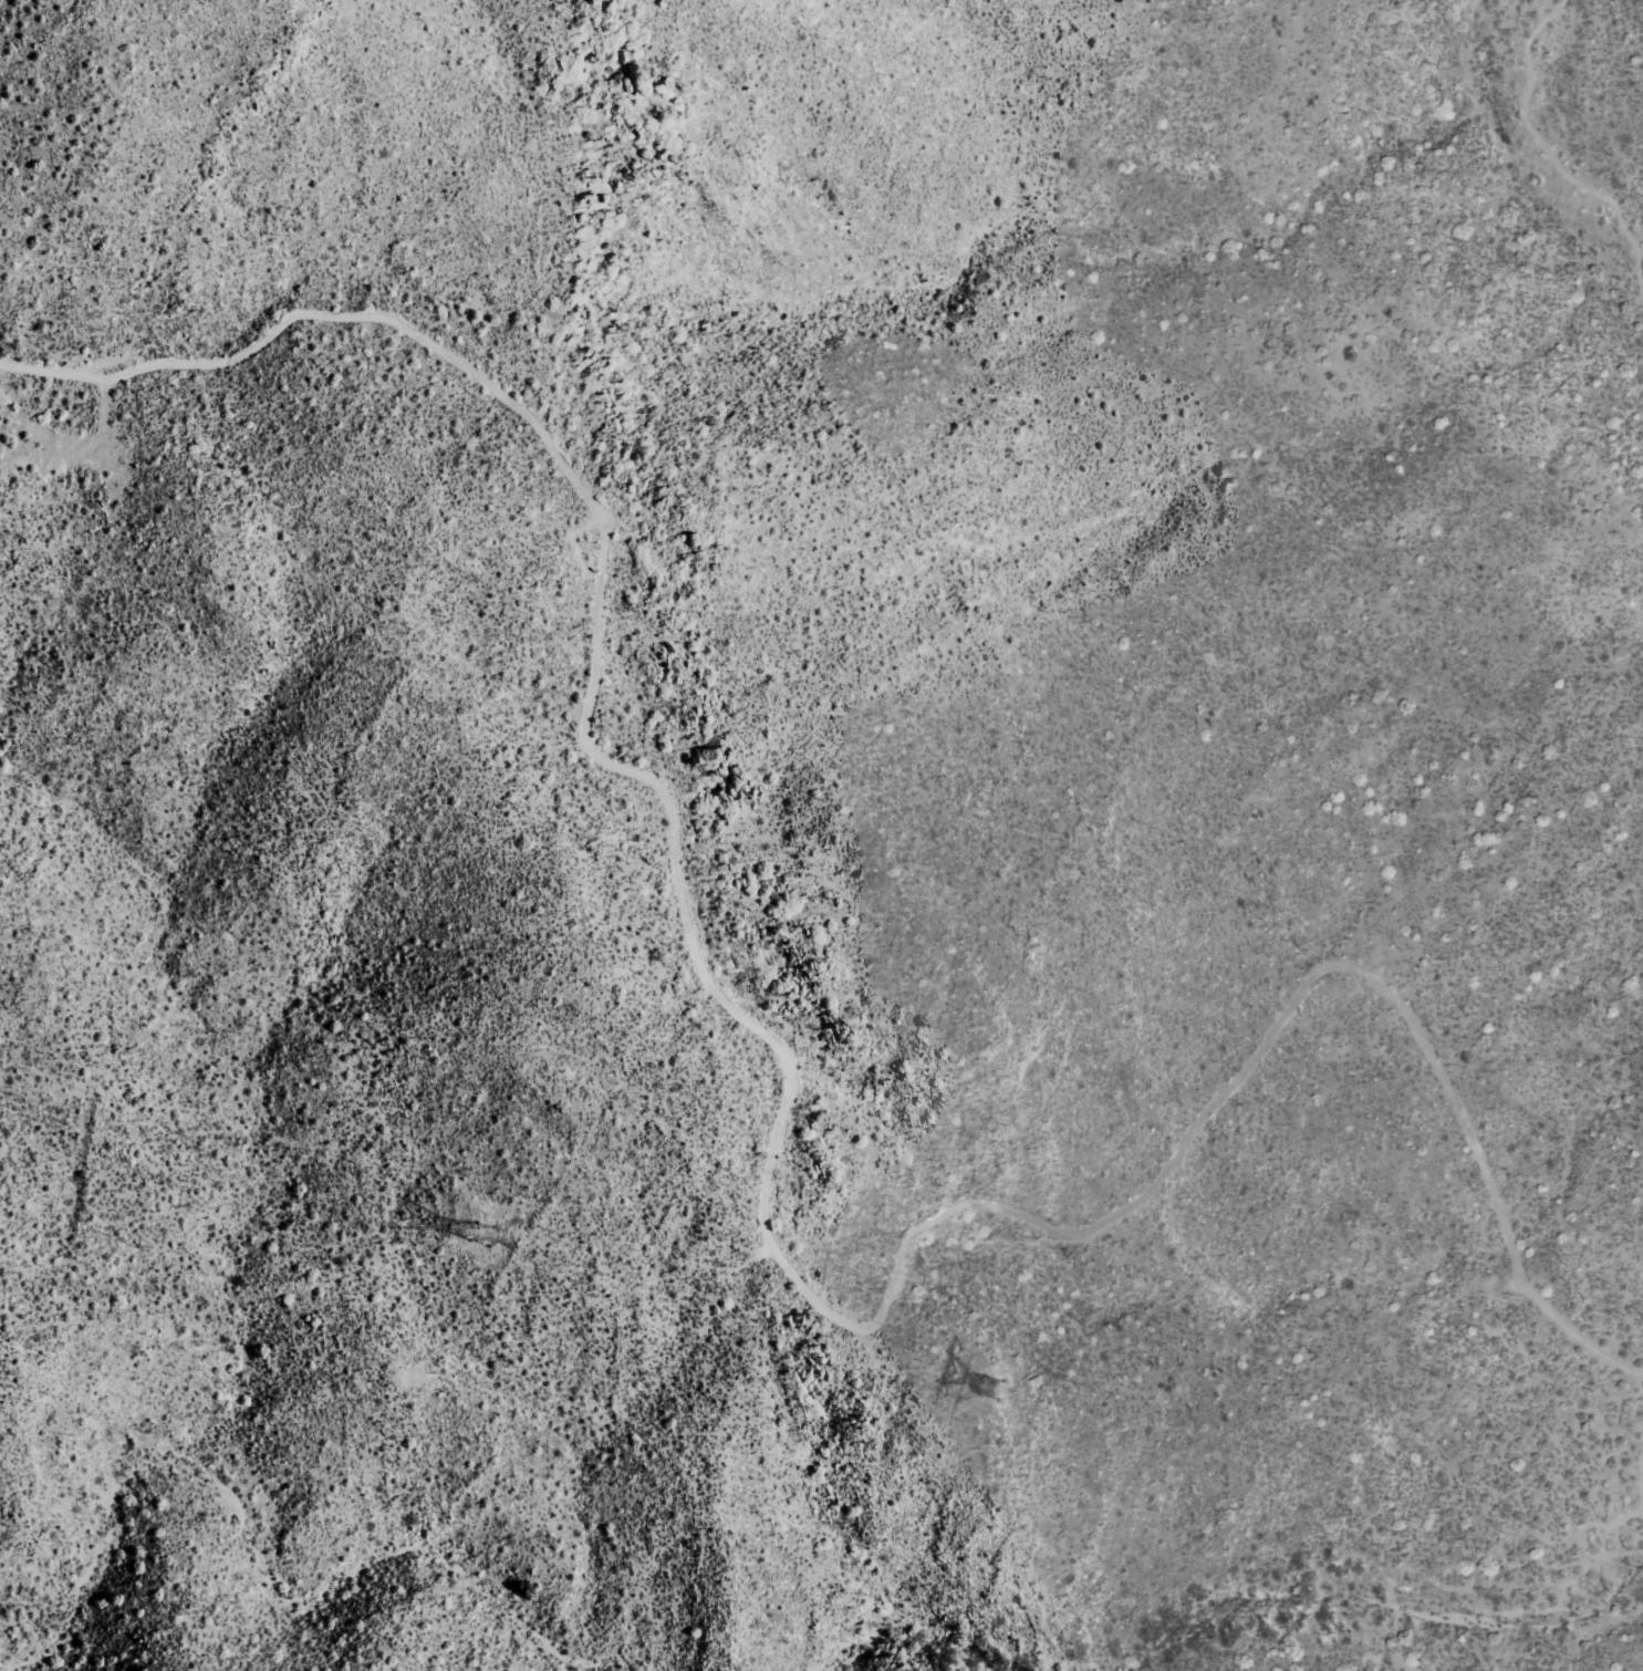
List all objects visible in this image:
power tower: (480, 1236)
power tower: (992, 1400)

